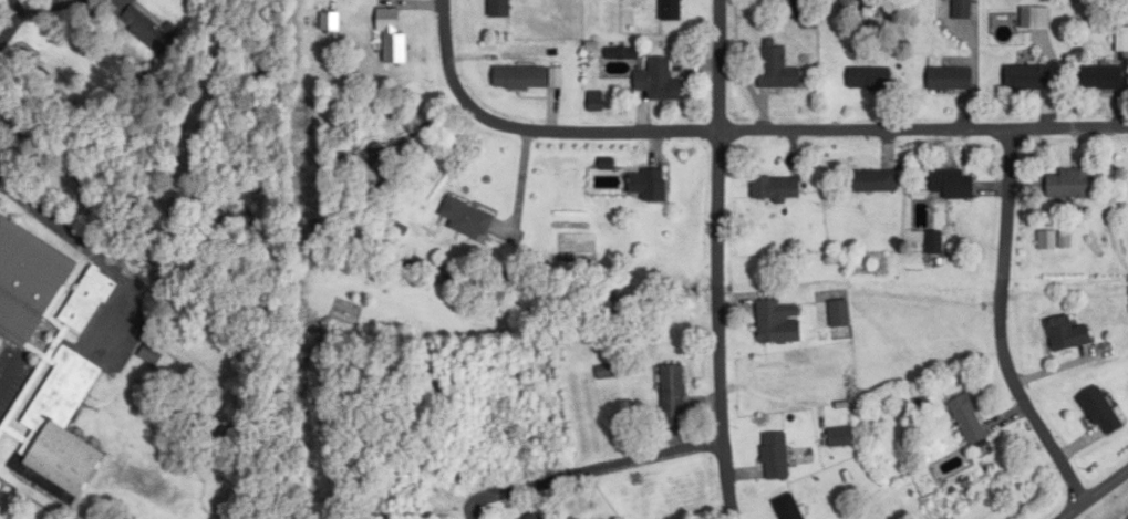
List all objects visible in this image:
building: (499, 9)
building: (790, 9)
building: (963, 9)
building: (671, 11)
building: (1036, 19)
road: (8, 21)
building: (330, 22)
building: (149, 30)
building: (393, 37)
building: (1121, 41)
building: (778, 69)
building: (559, 74)
building: (521, 79)
building: (1028, 79)
building: (1101, 79)
building: (870, 80)
building: (950, 80)
building: (660, 82)
road: (923, 129)
road: (527, 134)
building: (872, 181)
building: (952, 185)
building: (1069, 185)
building: (649, 186)
building: (776, 189)
building: (467, 220)
road: (75, 241)
building: (1047, 241)
building: (935, 243)
road: (720, 260)
building: (28, 282)
building: (89, 301)
building: (840, 314)
building: (778, 323)
road: (1004, 325)
building: (1067, 334)
building: (674, 396)
building: (1103, 412)
building: (969, 419)
building: (60, 432)
building: (841, 438)
building: (776, 457)
road: (591, 469)
road: (1095, 495)
building: (537, 517)

